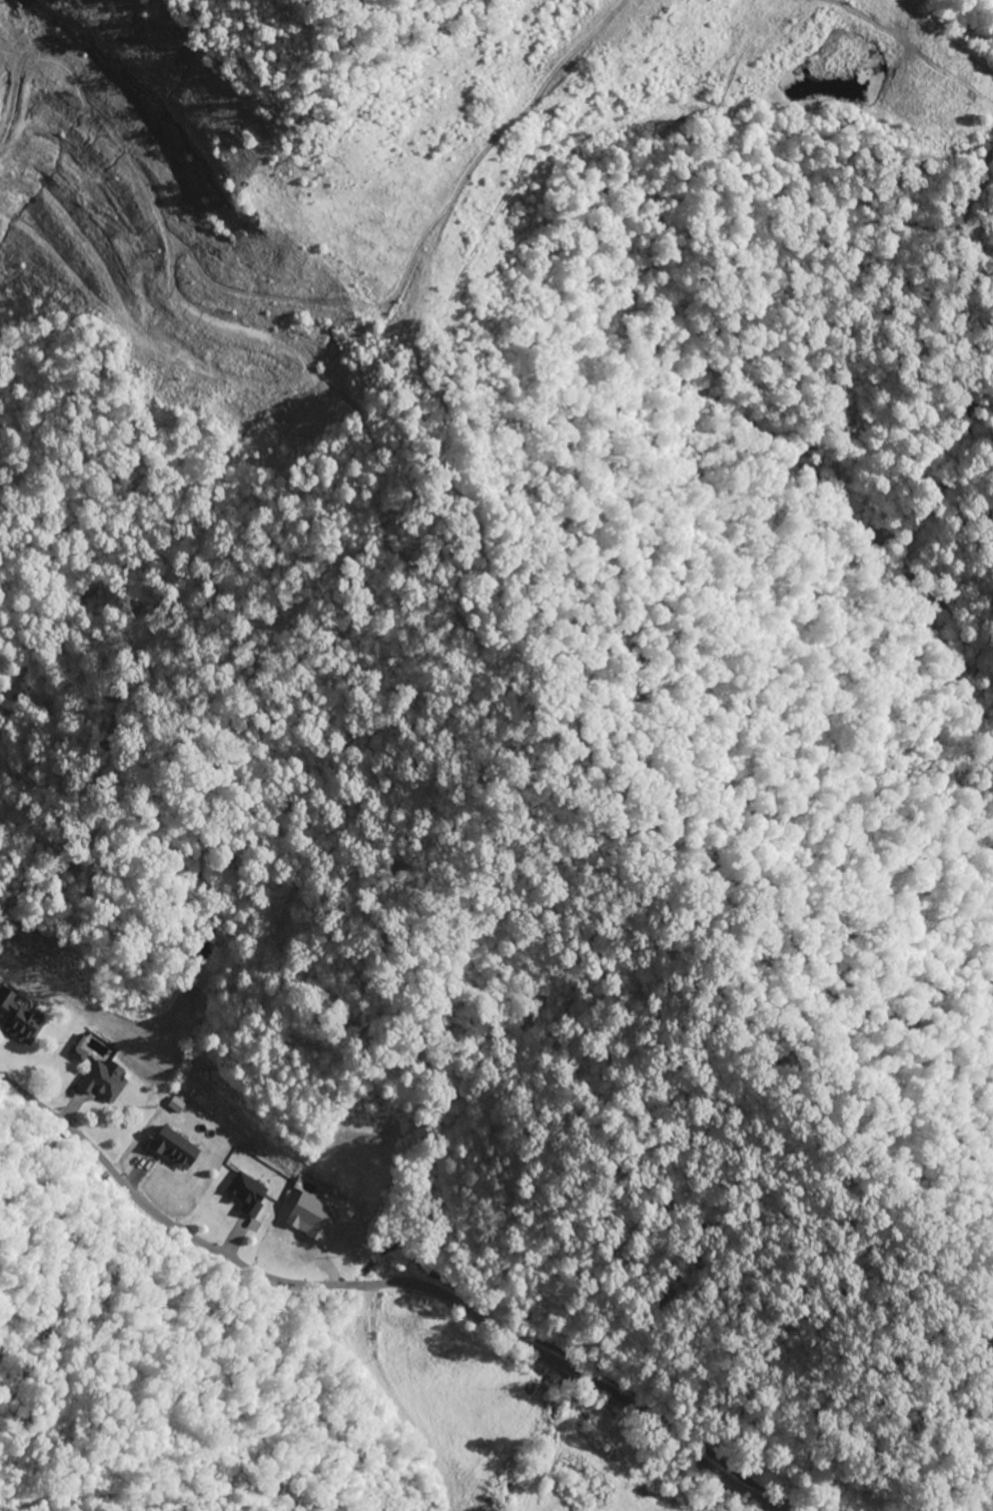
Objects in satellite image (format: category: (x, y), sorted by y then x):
road: (392, 1285)

